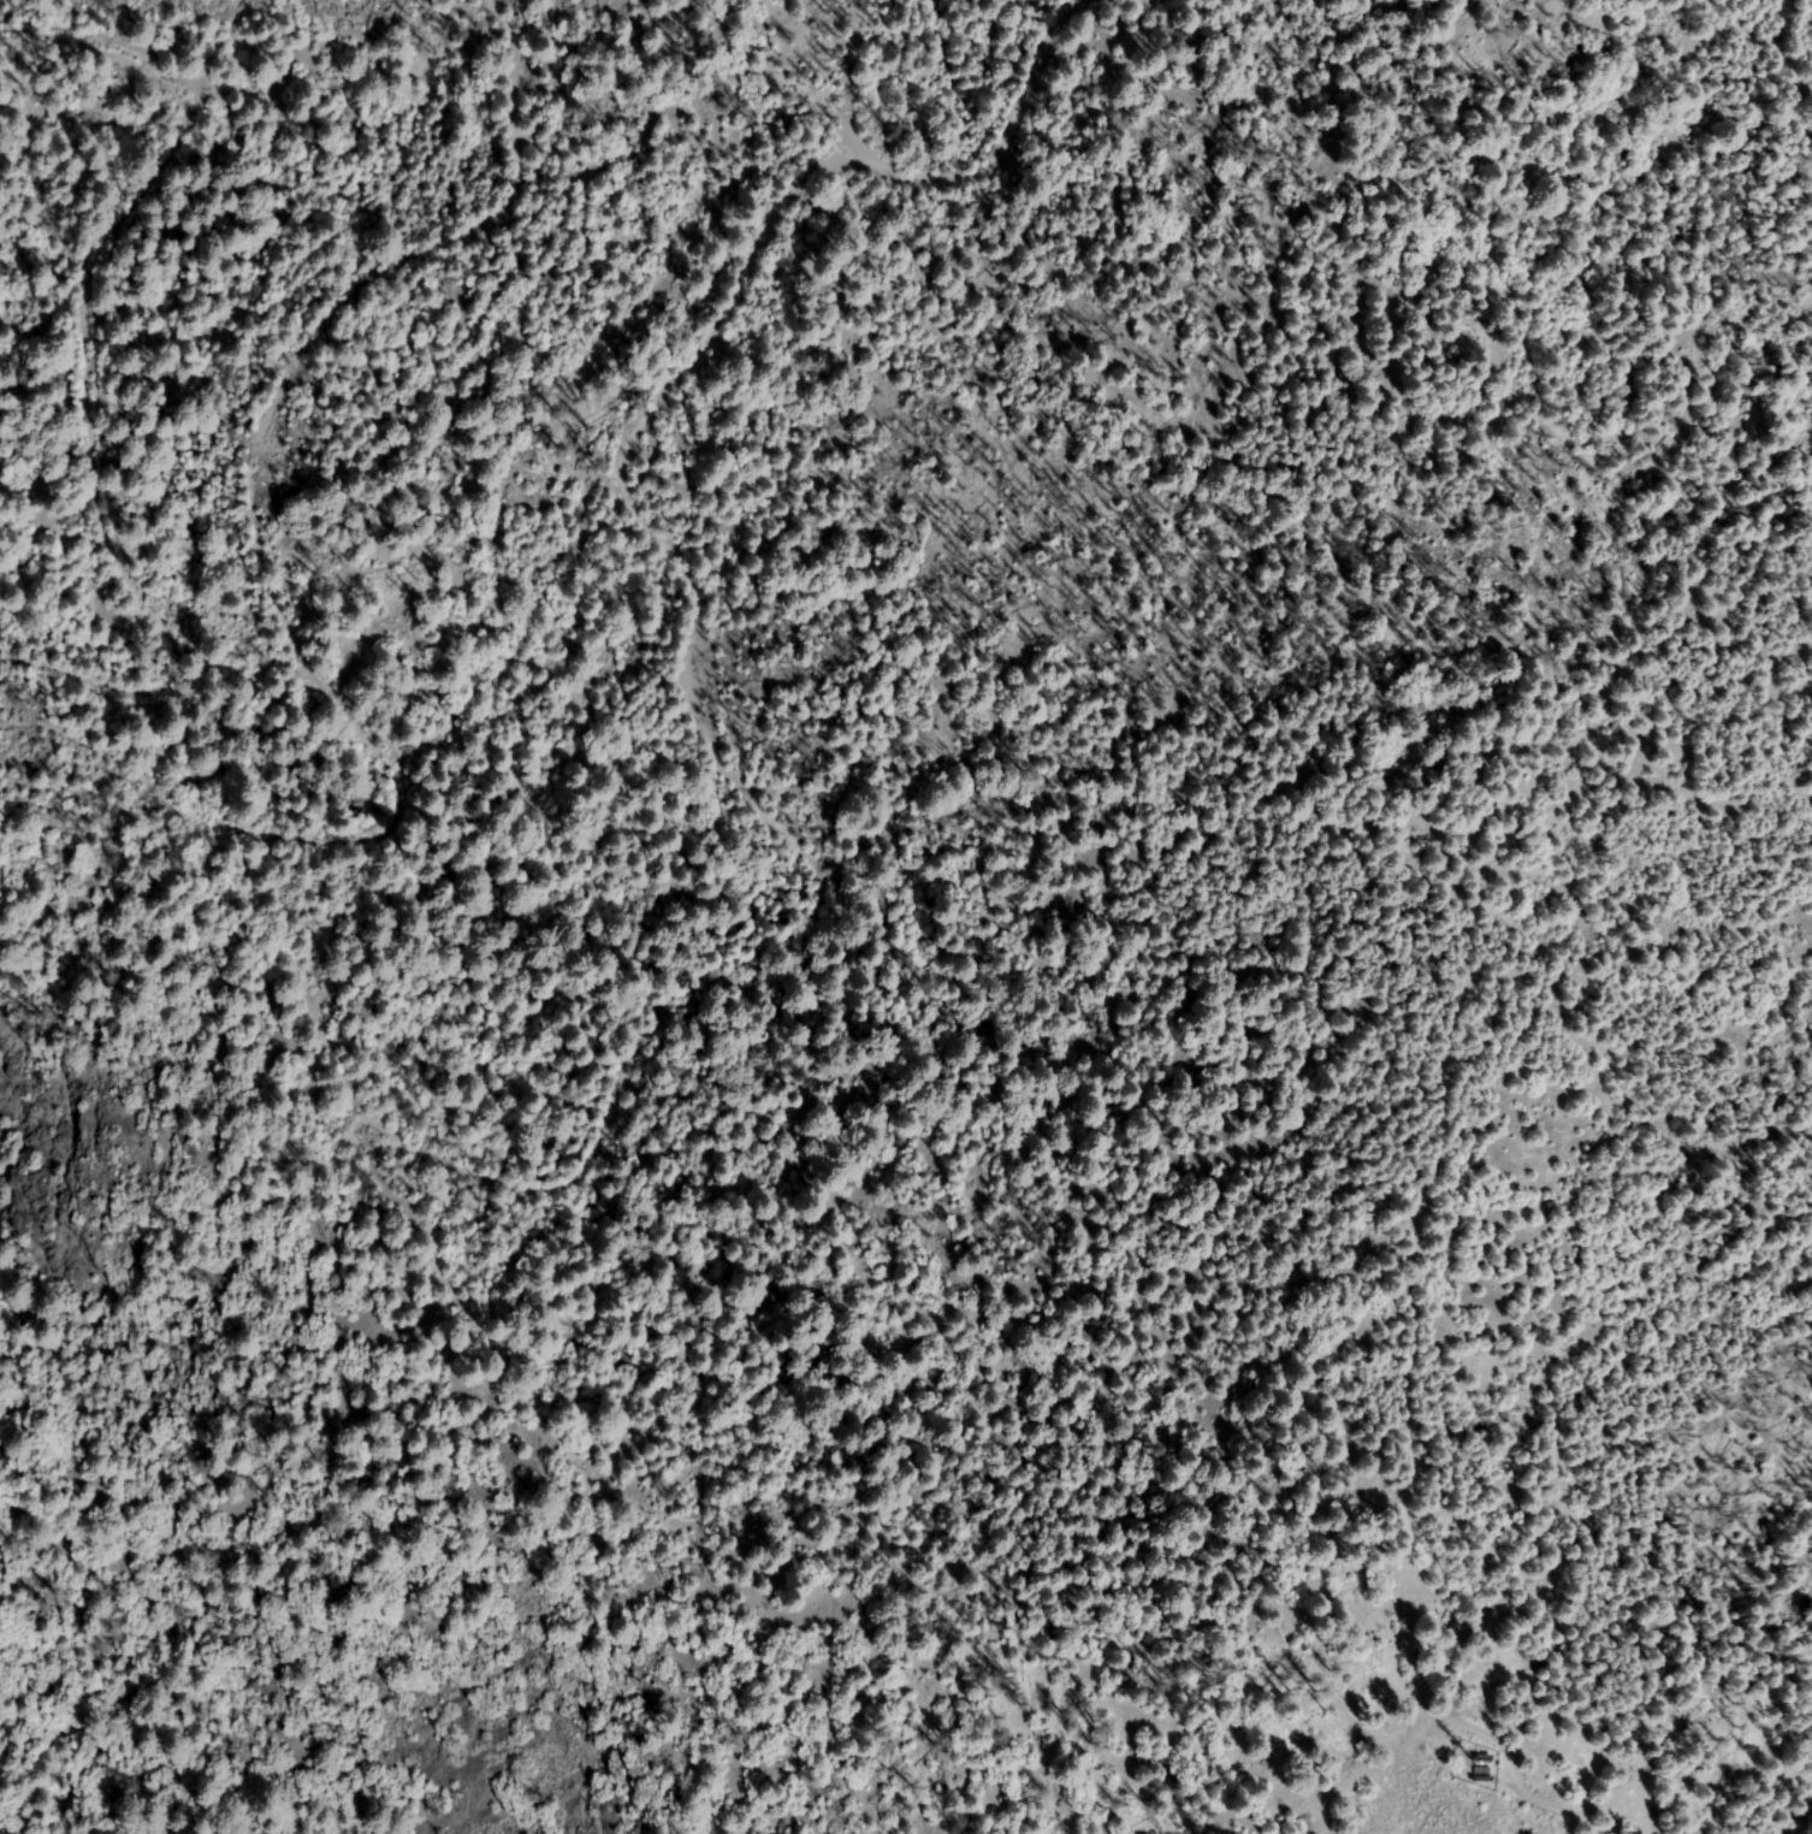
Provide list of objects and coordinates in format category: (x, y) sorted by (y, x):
road: (1789, 47)
road: (1001, 156)
road: (87, 372)
road: (263, 580)
road: (705, 739)

